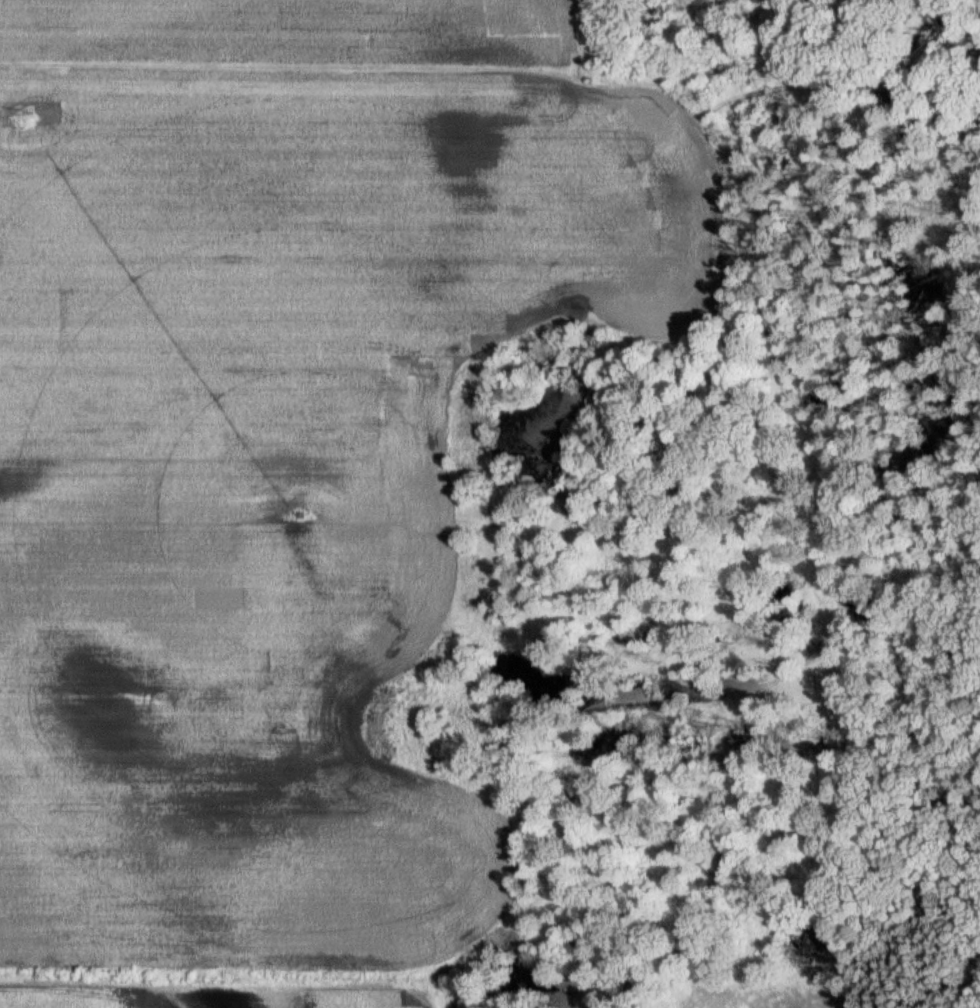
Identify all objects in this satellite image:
power tower: (24, 131)

